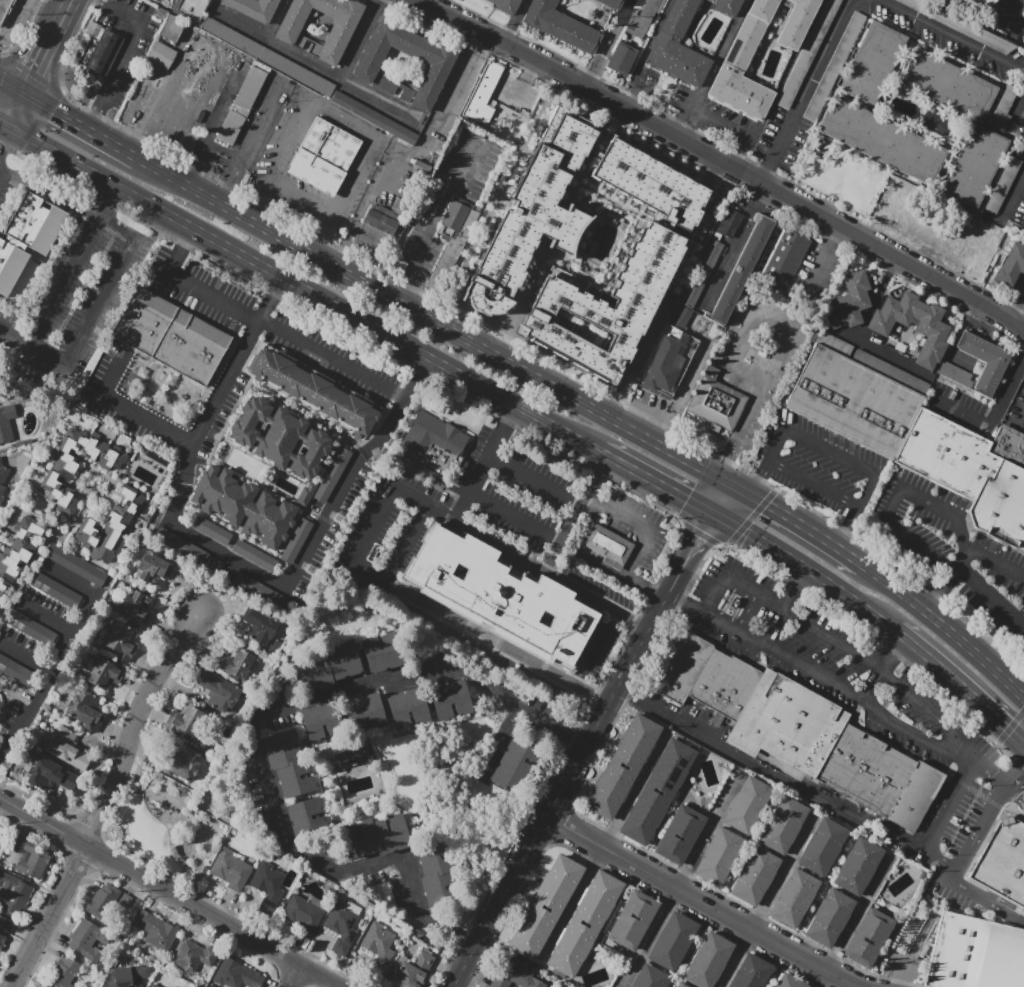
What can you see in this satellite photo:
parking lot: (160, 0)
building: (206, 0)
road: (94, 1)
building: (612, 3)
road: (629, 3)
road: (497, 4)
building: (983, 4)
building: (506, 5)
road: (446, 6)
building: (3, 7)
building: (725, 7)
building: (192, 8)
building: (254, 8)
building: (1022, 12)
road: (65, 13)
parking lot: (12, 19)
road: (486, 19)
building: (642, 19)
road: (11, 21)
road: (514, 21)
road: (1003, 21)
parking lot: (1006, 21)
building: (692, 22)
building: (795, 23)
building: (560, 25)
building: (290, 28)
building: (172, 29)
road: (654, 34)
road: (953, 38)
road: (360, 40)
parking lot: (127, 45)
road: (605, 45)
building: (677, 45)
road: (128, 46)
building: (255, 50)
building: (98, 51)
road: (720, 53)
building: (808, 53)
building: (161, 55)
building: (620, 58)
road: (42, 61)
road: (3, 62)
building: (873, 62)
building: (745, 64)
building: (834, 66)
road: (316, 67)
building: (437, 71)
traffic signals: (37, 72)
parking lot: (643, 80)
building: (948, 85)
road: (12, 88)
road: (635, 89)
road: (803, 91)
parking lot: (513, 92)
building: (483, 94)
building: (238, 106)
road: (149, 107)
road: (219, 107)
building: (1002, 108)
road: (16, 111)
traffic signals: (53, 111)
road: (680, 118)
parking lot: (715, 120)
building: (935, 122)
road: (93, 123)
road: (339, 123)
road: (4, 124)
road: (694, 125)
road: (80, 127)
road: (735, 127)
road: (4, 129)
road: (259, 131)
road: (686, 140)
building: (882, 140)
road: (5, 146)
traffic signals: (5, 150)
building: (323, 156)
road: (219, 158)
parking lot: (474, 161)
road: (1, 164)
road: (1, 166)
road: (190, 166)
building: (975, 166)
building: (1002, 184)
road: (231, 187)
parking lot: (7, 192)
road: (47, 193)
road: (498, 198)
building: (430, 200)
road: (1012, 200)
road: (104, 202)
road: (297, 202)
road: (439, 205)
building: (537, 215)
building: (453, 218)
building: (728, 223)
building: (377, 228)
road: (116, 229)
building: (1022, 230)
building: (27, 236)
road: (186, 236)
building: (668, 240)
road: (735, 247)
parking lot: (418, 251)
road: (341, 253)
building: (451, 254)
building: (780, 258)
road: (822, 262)
building: (1011, 265)
building: (400, 268)
building: (740, 269)
building: (702, 274)
parking lot: (817, 277)
road: (64, 281)
road: (278, 286)
road: (400, 288)
road: (303, 289)
parking lot: (74, 297)
road: (396, 301)
building: (851, 301)
road: (1015, 306)
road: (988, 309)
road: (975, 315)
building: (679, 318)
road: (92, 319)
road: (793, 325)
road: (271, 329)
road: (861, 329)
building: (933, 333)
road: (16, 335)
building: (170, 336)
road: (638, 357)
parking lot: (760, 359)
building: (669, 361)
building: (984, 361)
road: (423, 365)
building: (889, 370)
building: (955, 374)
road: (688, 380)
building: (312, 393)
building: (855, 400)
building: (716, 403)
parking lot: (964, 409)
parking lot: (1016, 409)
road: (132, 410)
road: (651, 411)
road: (511, 413)
road: (993, 422)
building: (7, 423)
building: (433, 436)
building: (280, 437)
road: (776, 445)
road: (602, 452)
road: (829, 453)
traffic signals: (727, 458)
road: (686, 460)
road: (623, 464)
building: (77, 466)
parking lot: (818, 466)
road: (721, 467)
road: (765, 468)
building: (333, 469)
road: (480, 471)
building: (974, 471)
road: (750, 474)
traffic signals: (761, 477)
building: (2, 479)
road: (533, 480)
road: (723, 480)
road: (813, 483)
road: (714, 485)
road: (752, 485)
road: (736, 488)
road: (674, 492)
road: (769, 495)
traffic signals: (686, 499)
road: (725, 501)
road: (422, 502)
road: (709, 502)
traffic signals: (767, 505)
building: (244, 506)
road: (573, 511)
road: (943, 511)
road: (854, 512)
road: (780, 513)
road: (751, 516)
road: (512, 517)
building: (111, 526)
parking lot: (928, 529)
building: (215, 531)
road: (704, 534)
road: (692, 536)
road: (904, 536)
road: (734, 537)
road: (755, 537)
road: (642, 541)
road: (709, 541)
road: (715, 542)
traffic signals: (707, 544)
road: (724, 544)
building: (181, 545)
building: (609, 546)
parking lot: (952, 550)
building: (17, 552)
building: (250, 552)
road: (840, 552)
road: (224, 553)
road: (962, 557)
road: (995, 563)
building: (80, 568)
building: (154, 568)
road: (955, 568)
road: (544, 569)
road: (675, 580)
road: (733, 582)
parking lot: (997, 583)
road: (792, 587)
building: (258, 589)
building: (54, 590)
road: (939, 592)
building: (501, 595)
road: (991, 596)
road: (847, 597)
road: (725, 602)
building: (733, 602)
road: (418, 603)
road: (685, 606)
building: (135, 608)
road: (736, 608)
road: (745, 612)
road: (47, 619)
road: (641, 624)
building: (260, 626)
building: (30, 628)
road: (947, 630)
building: (121, 642)
road: (593, 648)
road: (64, 651)
building: (384, 652)
road: (894, 655)
road: (27, 656)
building: (238, 664)
building: (684, 667)
building: (327, 668)
building: (17, 673)
building: (104, 673)
building: (727, 685)
road: (960, 686)
building: (221, 694)
road: (588, 695)
building: (450, 700)
building: (407, 707)
building: (85, 710)
building: (364, 713)
building: (320, 720)
building: (186, 721)
building: (791, 724)
road: (132, 727)
traffic signals: (1006, 729)
road: (256, 734)
road: (503, 739)
building: (65, 749)
road: (943, 751)
building: (350, 757)
building: (184, 762)
building: (288, 764)
building: (516, 766)
building: (623, 767)
road: (769, 767)
building: (869, 772)
traffic signals: (1020, 774)
building: (51, 775)
road: (989, 775)
road: (1016, 777)
road: (559, 791)
building: (658, 792)
road: (1016, 796)
building: (919, 799)
building: (747, 805)
road: (945, 807)
building: (305, 816)
building: (783, 825)
park: (163, 828)
road: (978, 831)
road: (705, 833)
building: (680, 834)
building: (374, 836)
building: (823, 847)
building: (719, 856)
building: (30, 857)
building: (1003, 862)
road: (937, 865)
building: (858, 867)
building: (231, 869)
building: (438, 872)
building: (754, 876)
road: (781, 876)
building: (268, 886)
building: (14, 893)
road: (168, 893)
building: (794, 898)
road: (988, 899)
building: (104, 901)
road: (700, 902)
building: (546, 908)
building: (304, 913)
road: (49, 917)
building: (829, 918)
road: (853, 918)
building: (633, 919)
building: (584, 925)
building: (341, 927)
building: (156, 930)
building: (4, 931)
road: (648, 938)
building: (869, 938)
building: (89, 939)
building: (672, 941)
building: (378, 946)
building: (969, 951)
building: (193, 956)
road: (736, 959)
building: (707, 960)
building: (413, 970)
building: (751, 972)
building: (64, 973)
building: (516, 974)
building: (236, 975)
building: (127, 976)
road: (291, 976)
building: (649, 978)
road: (820, 979)
building: (789, 982)
building: (153, 985)
building: (680, 985)
building: (174, 986)
building: (176, 986)

